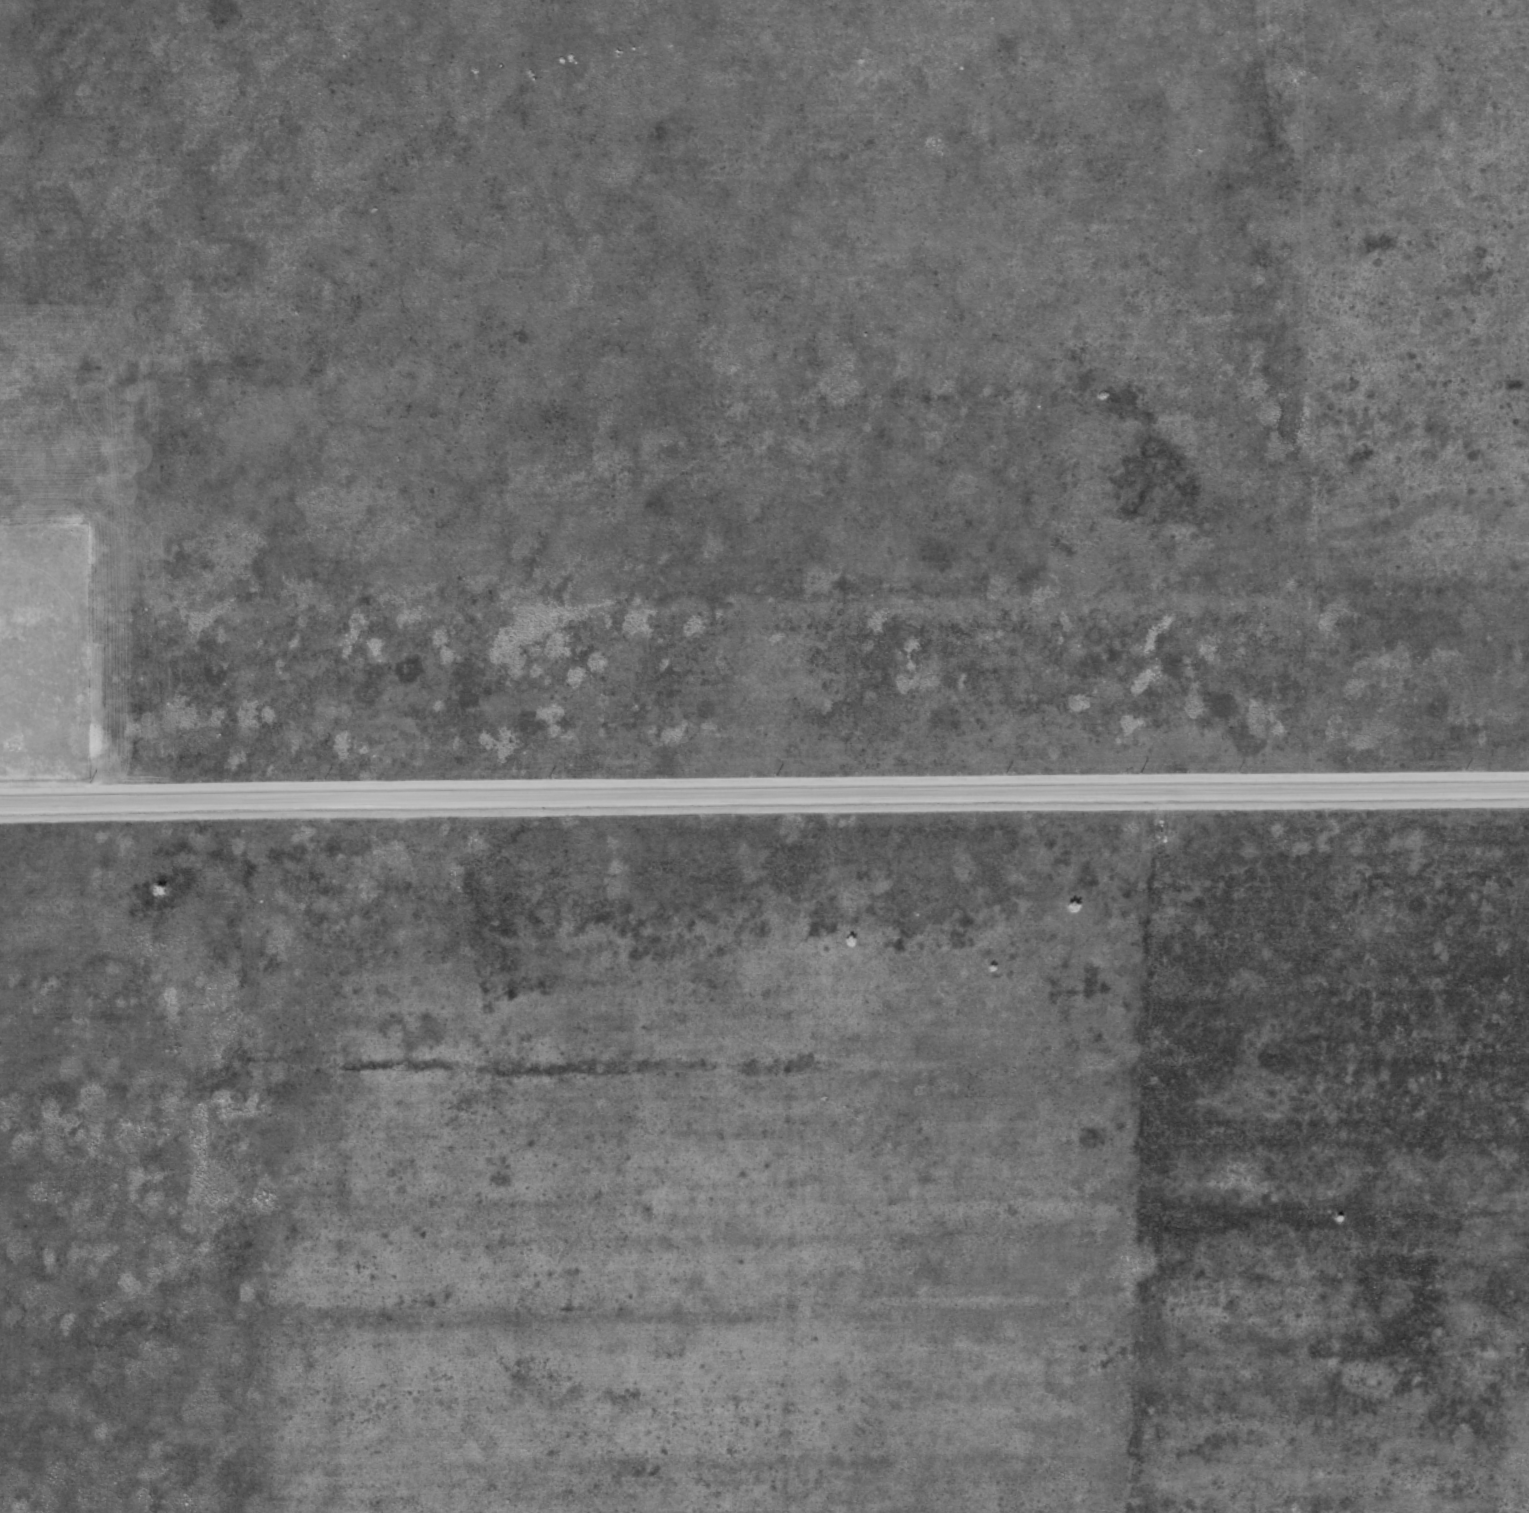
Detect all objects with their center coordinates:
road: (764, 820)

